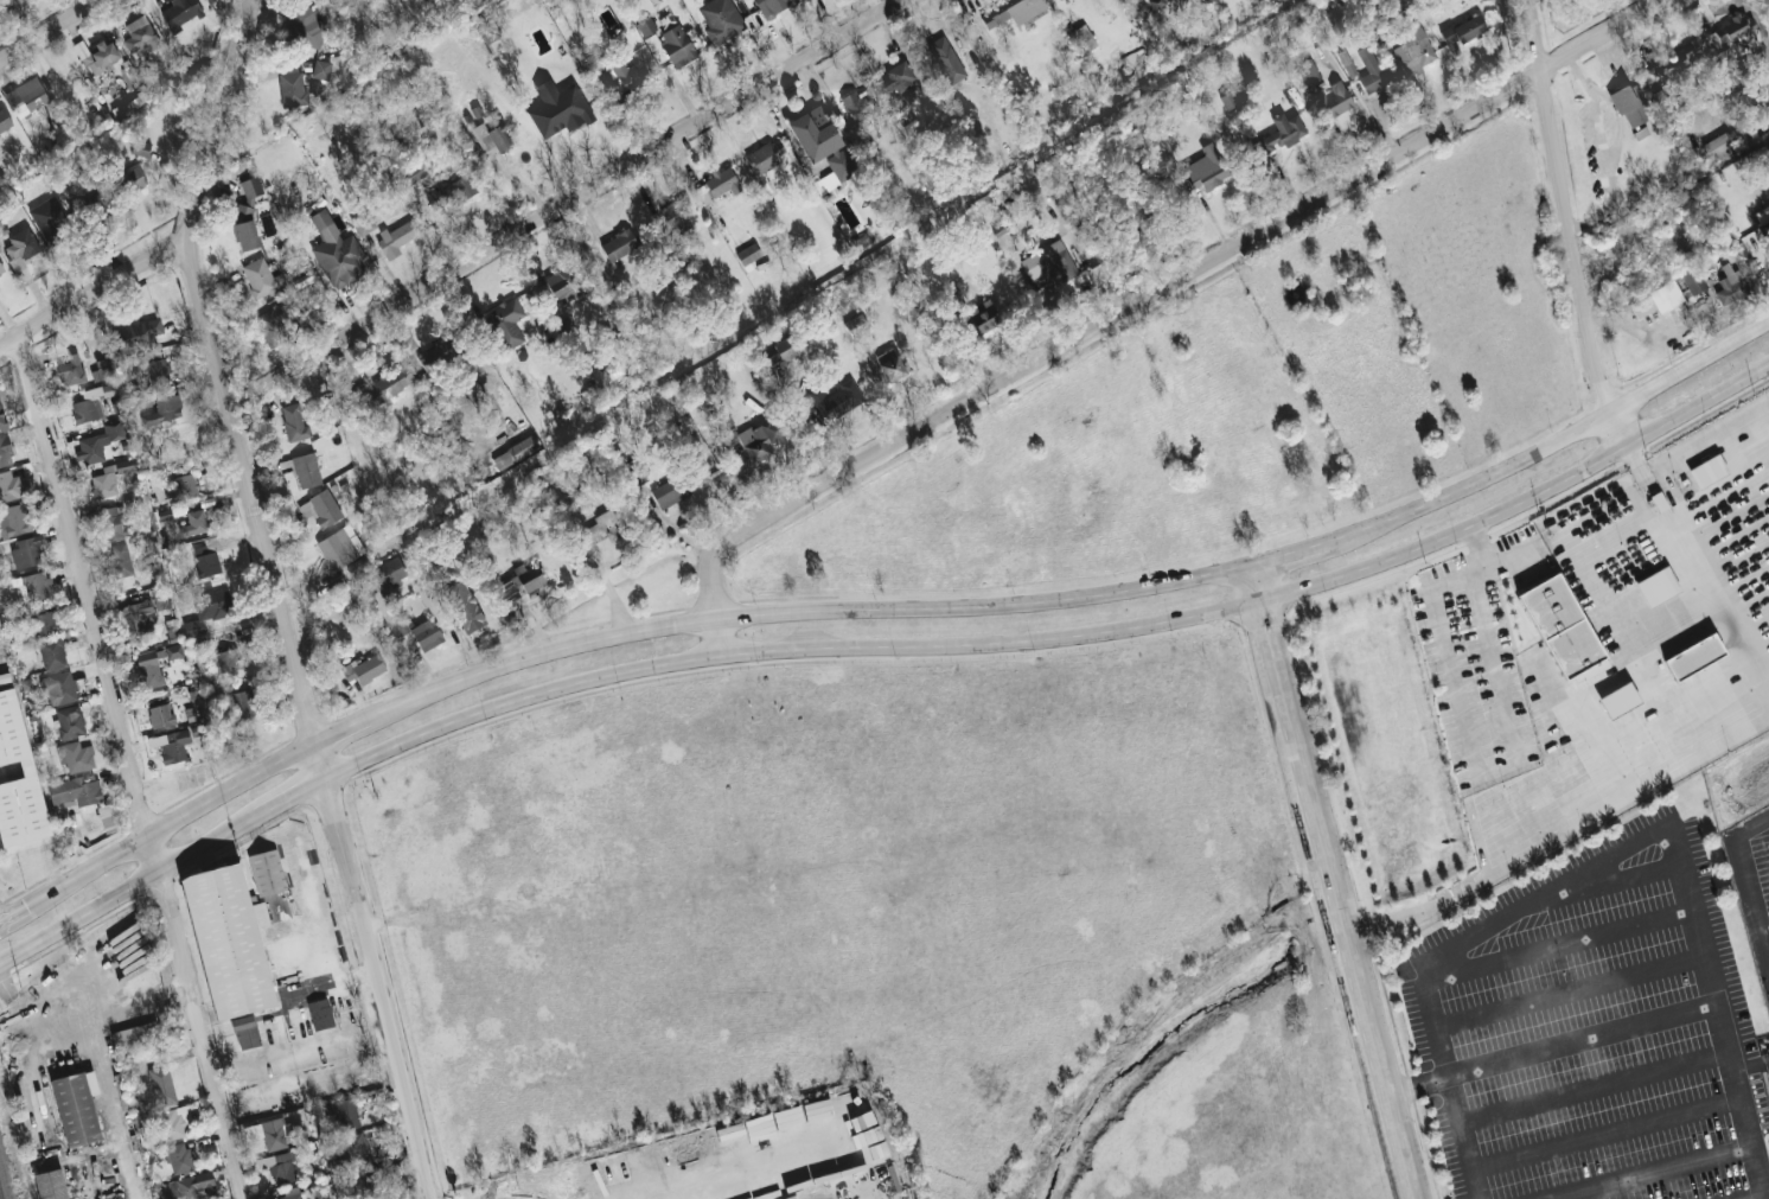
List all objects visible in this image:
building: (1136, 0)
building: (1156, 2)
building: (773, 6)
building: (180, 12)
building: (1011, 12)
building: (720, 19)
road: (44, 26)
building: (306, 26)
building: (645, 26)
building: (1732, 30)
building: (487, 31)
building: (1463, 31)
building: (140, 36)
building: (1083, 38)
building: (651, 42)
building: (677, 45)
building: (1413, 50)
building: (101, 57)
building: (946, 59)
building: (1666, 62)
building: (1347, 63)
building: (321, 69)
building: (1369, 71)
road: (1579, 72)
building: (1310, 76)
building: (625, 77)
building: (900, 81)
building: (292, 87)
building: (26, 97)
building: (1662, 97)
building: (1228, 98)
building: (1336, 98)
building: (858, 104)
building: (1631, 104)
building: (558, 108)
building: (4, 119)
road: (212, 120)
building: (1282, 132)
building: (815, 133)
road: (1620, 133)
road: (1601, 140)
building: (1719, 146)
building: (140, 147)
building: (762, 158)
building: (837, 170)
building: (415, 172)
building: (133, 179)
building: (719, 185)
road: (1560, 190)
building: (451, 193)
building: (248, 198)
road: (554, 202)
building: (1762, 213)
building: (677, 215)
road: (1597, 216)
building: (50, 219)
building: (245, 235)
building: (396, 238)
building: (21, 244)
building: (619, 244)
building: (748, 254)
building: (1048, 266)
road: (1198, 268)
building: (1, 269)
building: (262, 278)
building: (1693, 280)
building: (563, 285)
building: (1730, 285)
road: (90, 294)
building: (1655, 300)
building: (983, 315)
building: (506, 321)
building: (857, 326)
building: (270, 327)
building: (136, 334)
building: (786, 347)
building: (436, 352)
building: (767, 357)
building: (889, 364)
building: (155, 368)
building: (71, 370)
building: (391, 382)
building: (109, 389)
building: (835, 400)
building: (164, 407)
building: (87, 409)
road: (1611, 413)
building: (294, 422)
building: (760, 439)
building: (100, 441)
road: (1553, 442)
building: (4, 449)
building: (515, 452)
building: (306, 470)
road: (237, 471)
building: (1707, 471)
building: (111, 478)
building: (12, 485)
building: (183, 487)
building: (670, 492)
building: (320, 509)
building: (14, 519)
building: (111, 522)
building: (193, 523)
building: (601, 530)
building: (340, 547)
building: (26, 551)
road: (1290, 554)
building: (207, 556)
road: (1505, 556)
building: (120, 560)
road: (77, 566)
building: (387, 573)
road: (1695, 573)
building: (519, 582)
building: (32, 585)
building: (1658, 586)
road: (714, 592)
building: (464, 606)
building: (207, 610)
building: (138, 618)
building: (43, 623)
building: (1563, 627)
building: (0, 629)
building: (421, 632)
road: (1064, 634)
road: (613, 637)
road: (1450, 638)
building: (173, 651)
building: (50, 653)
building: (1693, 656)
building: (228, 659)
building: (149, 668)
building: (363, 668)
building: (59, 688)
road: (1499, 689)
building: (1620, 700)
building: (240, 704)
building: (161, 715)
building: (70, 721)
road: (308, 721)
building: (173, 746)
building: (76, 757)
building: (18, 782)
road: (325, 782)
building: (76, 791)
road: (292, 797)
building: (109, 818)
road: (1560, 833)
road: (151, 843)
building: (266, 872)
road: (1629, 879)
road: (1331, 882)
road: (128, 885)
road: (1752, 885)
road: (1558, 889)
road: (15, 911)
building: (225, 940)
road: (1566, 943)
road: (1569, 990)
road: (382, 1009)
building: (320, 1014)
building: (245, 1032)
road: (1583, 1037)
building: (135, 1038)
road: (204, 1046)
road: (1417, 1082)
building: (161, 1085)
road: (1598, 1089)
building: (74, 1110)
building: (344, 1115)
building: (179, 1120)
road: (1611, 1131)
building: (279, 1134)
building: (356, 1149)
building: (179, 1157)
road: (1706, 1162)
road: (772, 1163)
building: (280, 1167)
road: (1764, 1169)
building: (47, 1185)
building: (191, 1187)
building: (365, 1187)
building: (292, 1193)
railway: (0, 1194)
road: (1752, 1194)
road: (838, 1198)

